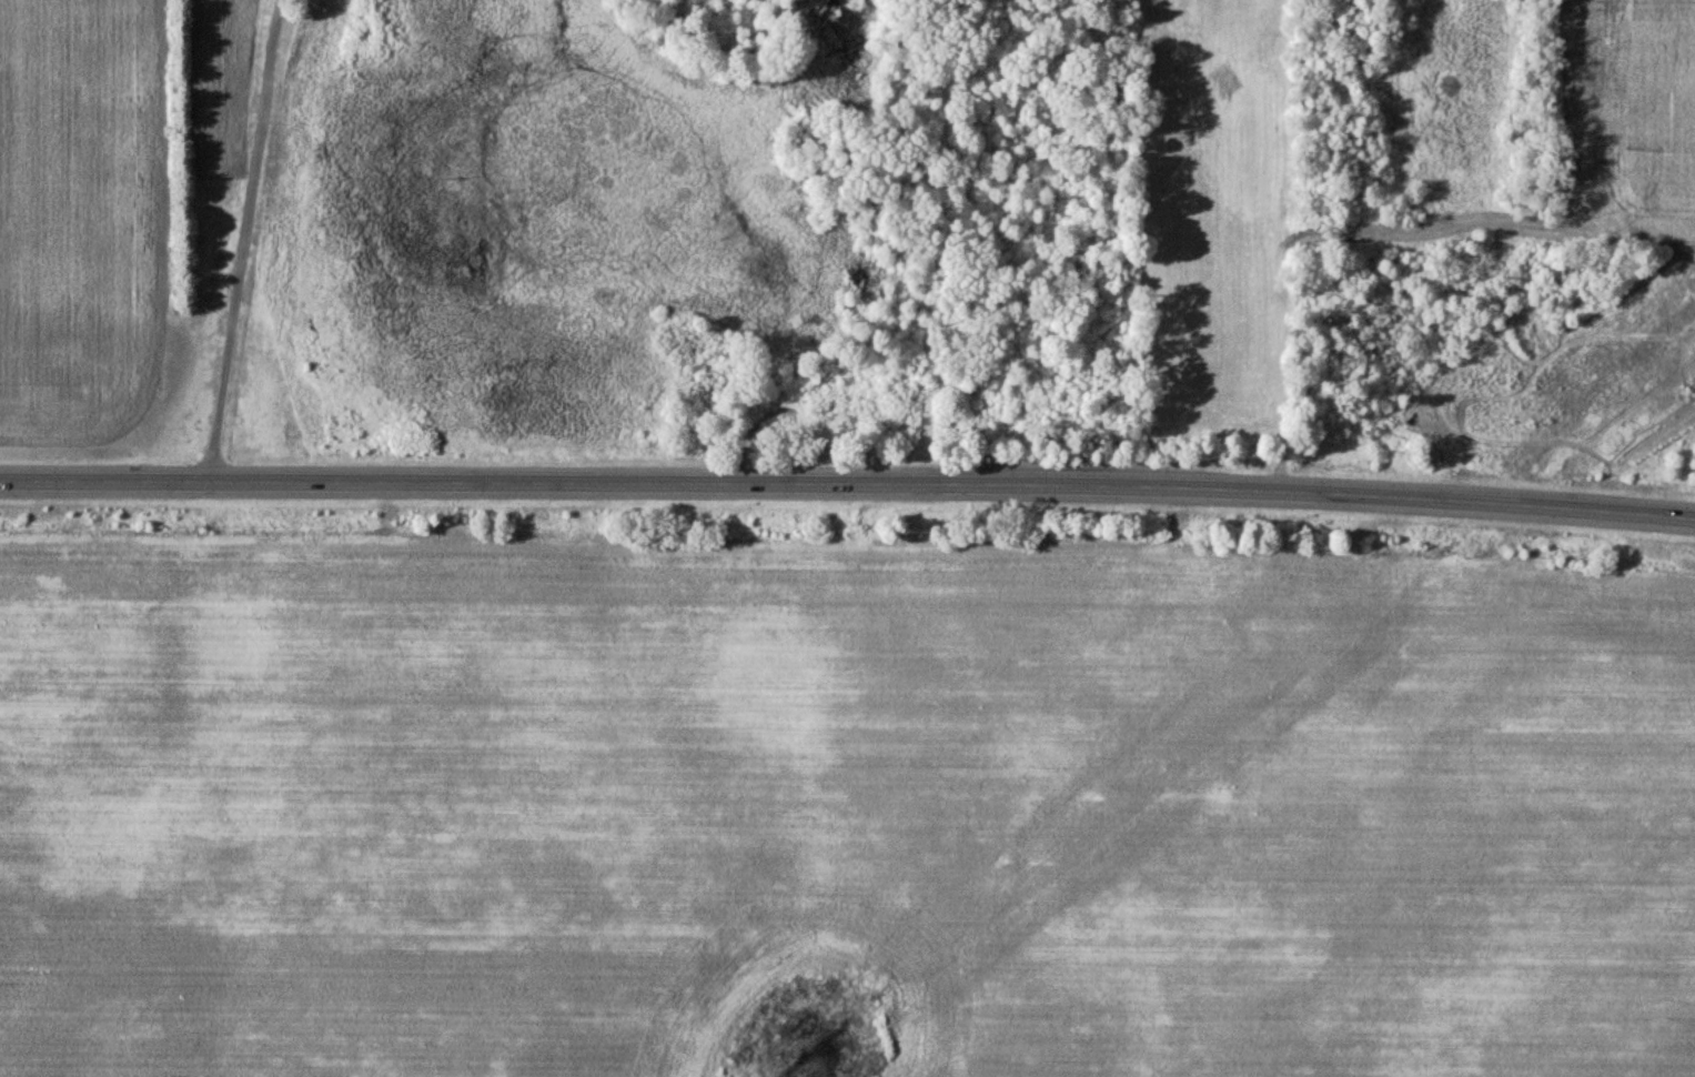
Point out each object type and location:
road: (1637, 89)
road: (1558, 235)
road: (225, 242)
road: (578, 481)
road: (1426, 495)

